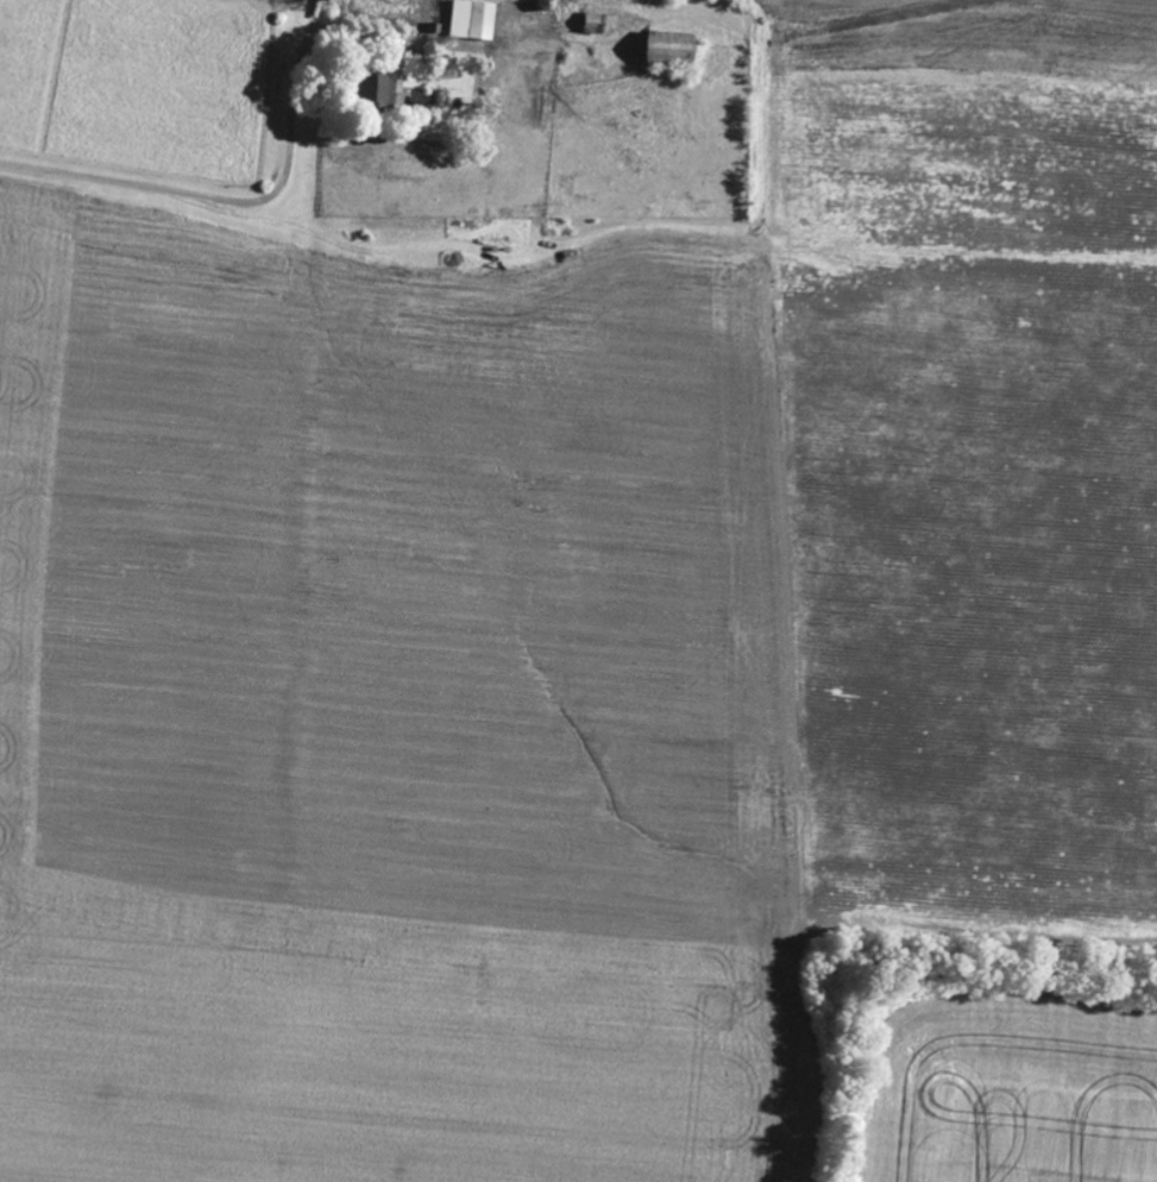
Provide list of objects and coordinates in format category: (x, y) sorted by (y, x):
building: (474, 21)
building: (597, 23)
building: (674, 50)
building: (381, 92)
road: (180, 193)

